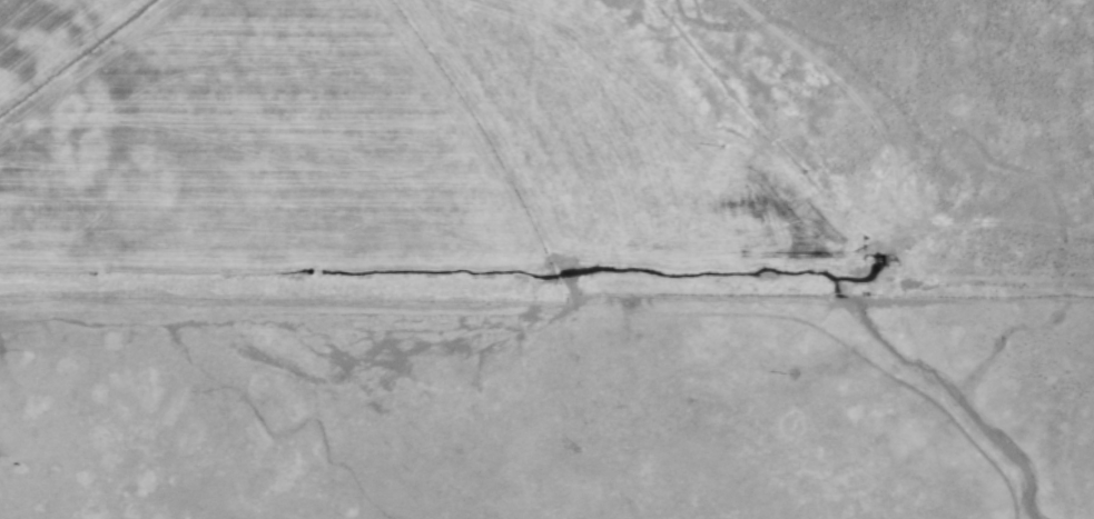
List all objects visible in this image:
crop: (546, 259)

